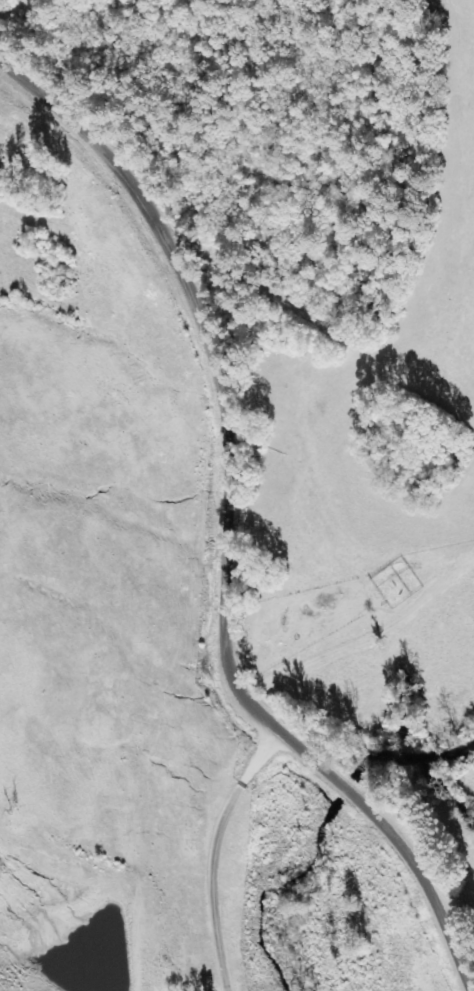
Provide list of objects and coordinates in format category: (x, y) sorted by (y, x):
road: (193, 558)
road: (363, 668)

